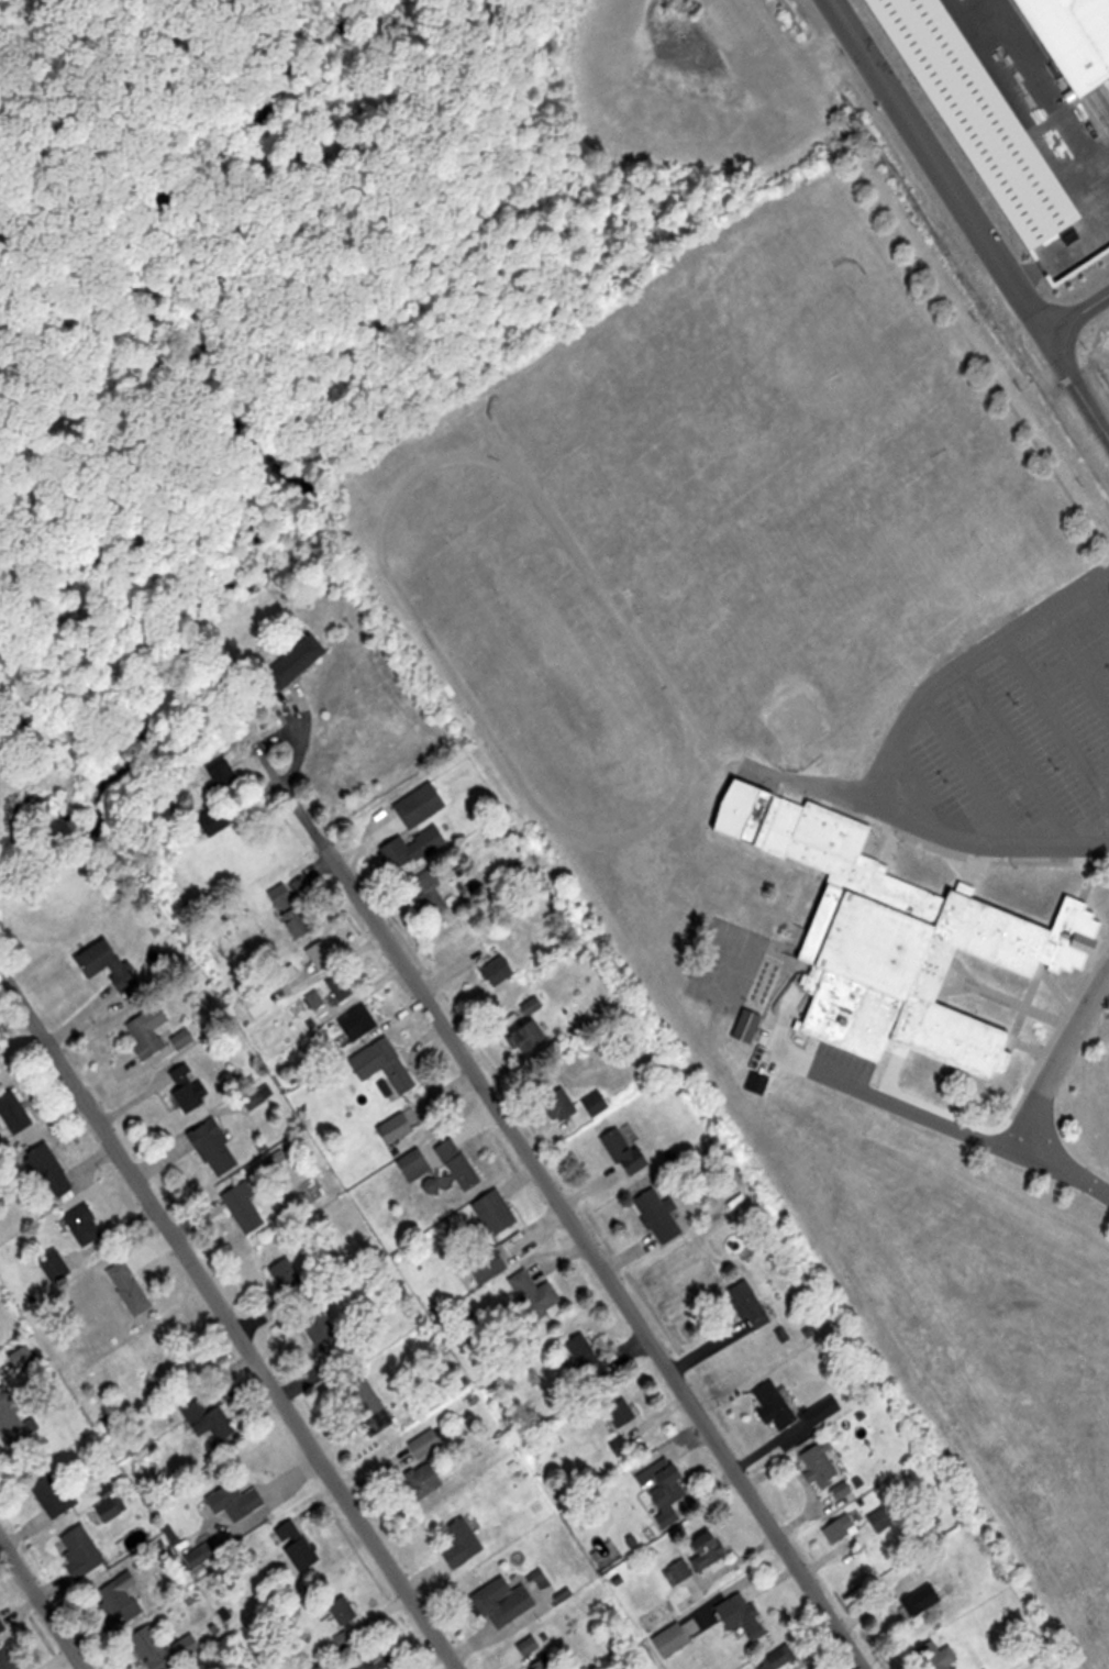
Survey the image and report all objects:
building: (1075, 38)
building: (641, 78)
building: (978, 115)
road: (930, 166)
road: (1076, 303)
road: (1074, 382)
park: (796, 469)
road: (1100, 592)
building: (299, 660)
road: (897, 751)
building: (222, 772)
building: (423, 804)
building: (215, 820)
building: (414, 847)
building: (430, 894)
building: (290, 910)
building: (902, 940)
building: (322, 955)
building: (109, 963)
building: (499, 969)
building: (342, 985)
building: (533, 1004)
building: (361, 1020)
building: (151, 1029)
building: (531, 1036)
building: (385, 1063)
building: (189, 1086)
road: (1045, 1088)
building: (597, 1102)
building: (562, 1103)
building: (15, 1112)
building: (396, 1127)
building: (217, 1147)
building: (628, 1151)
building: (417, 1163)
building: (461, 1163)
building: (54, 1171)
building: (246, 1207)
building: (497, 1212)
building: (662, 1215)
building: (85, 1225)
road: (596, 1259)
building: (489, 1263)
building: (292, 1281)
building: (132, 1287)
building: (536, 1293)
building: (751, 1305)
road: (228, 1320)
building: (588, 1355)
building: (777, 1404)
building: (818, 1413)
building: (619, 1415)
building: (14, 1417)
building: (210, 1419)
building: (141, 1439)
building: (428, 1441)
building: (821, 1464)
building: (425, 1478)
building: (667, 1486)
building: (844, 1489)
building: (57, 1492)
building: (237, 1500)
building: (881, 1518)
building: (842, 1527)
building: (463, 1540)
building: (207, 1549)
building: (81, 1550)
building: (711, 1551)
building: (303, 1552)
building: (679, 1572)
building: (122, 1598)
building: (924, 1600)
building: (506, 1602)
road: (42, 1604)
building: (343, 1607)
building: (744, 1617)
building: (2, 1625)
building: (677, 1637)
building: (164, 1647)
building: (934, 1656)
building: (778, 1658)
building: (9, 1659)
building: (381, 1660)
building: (546, 1664)

